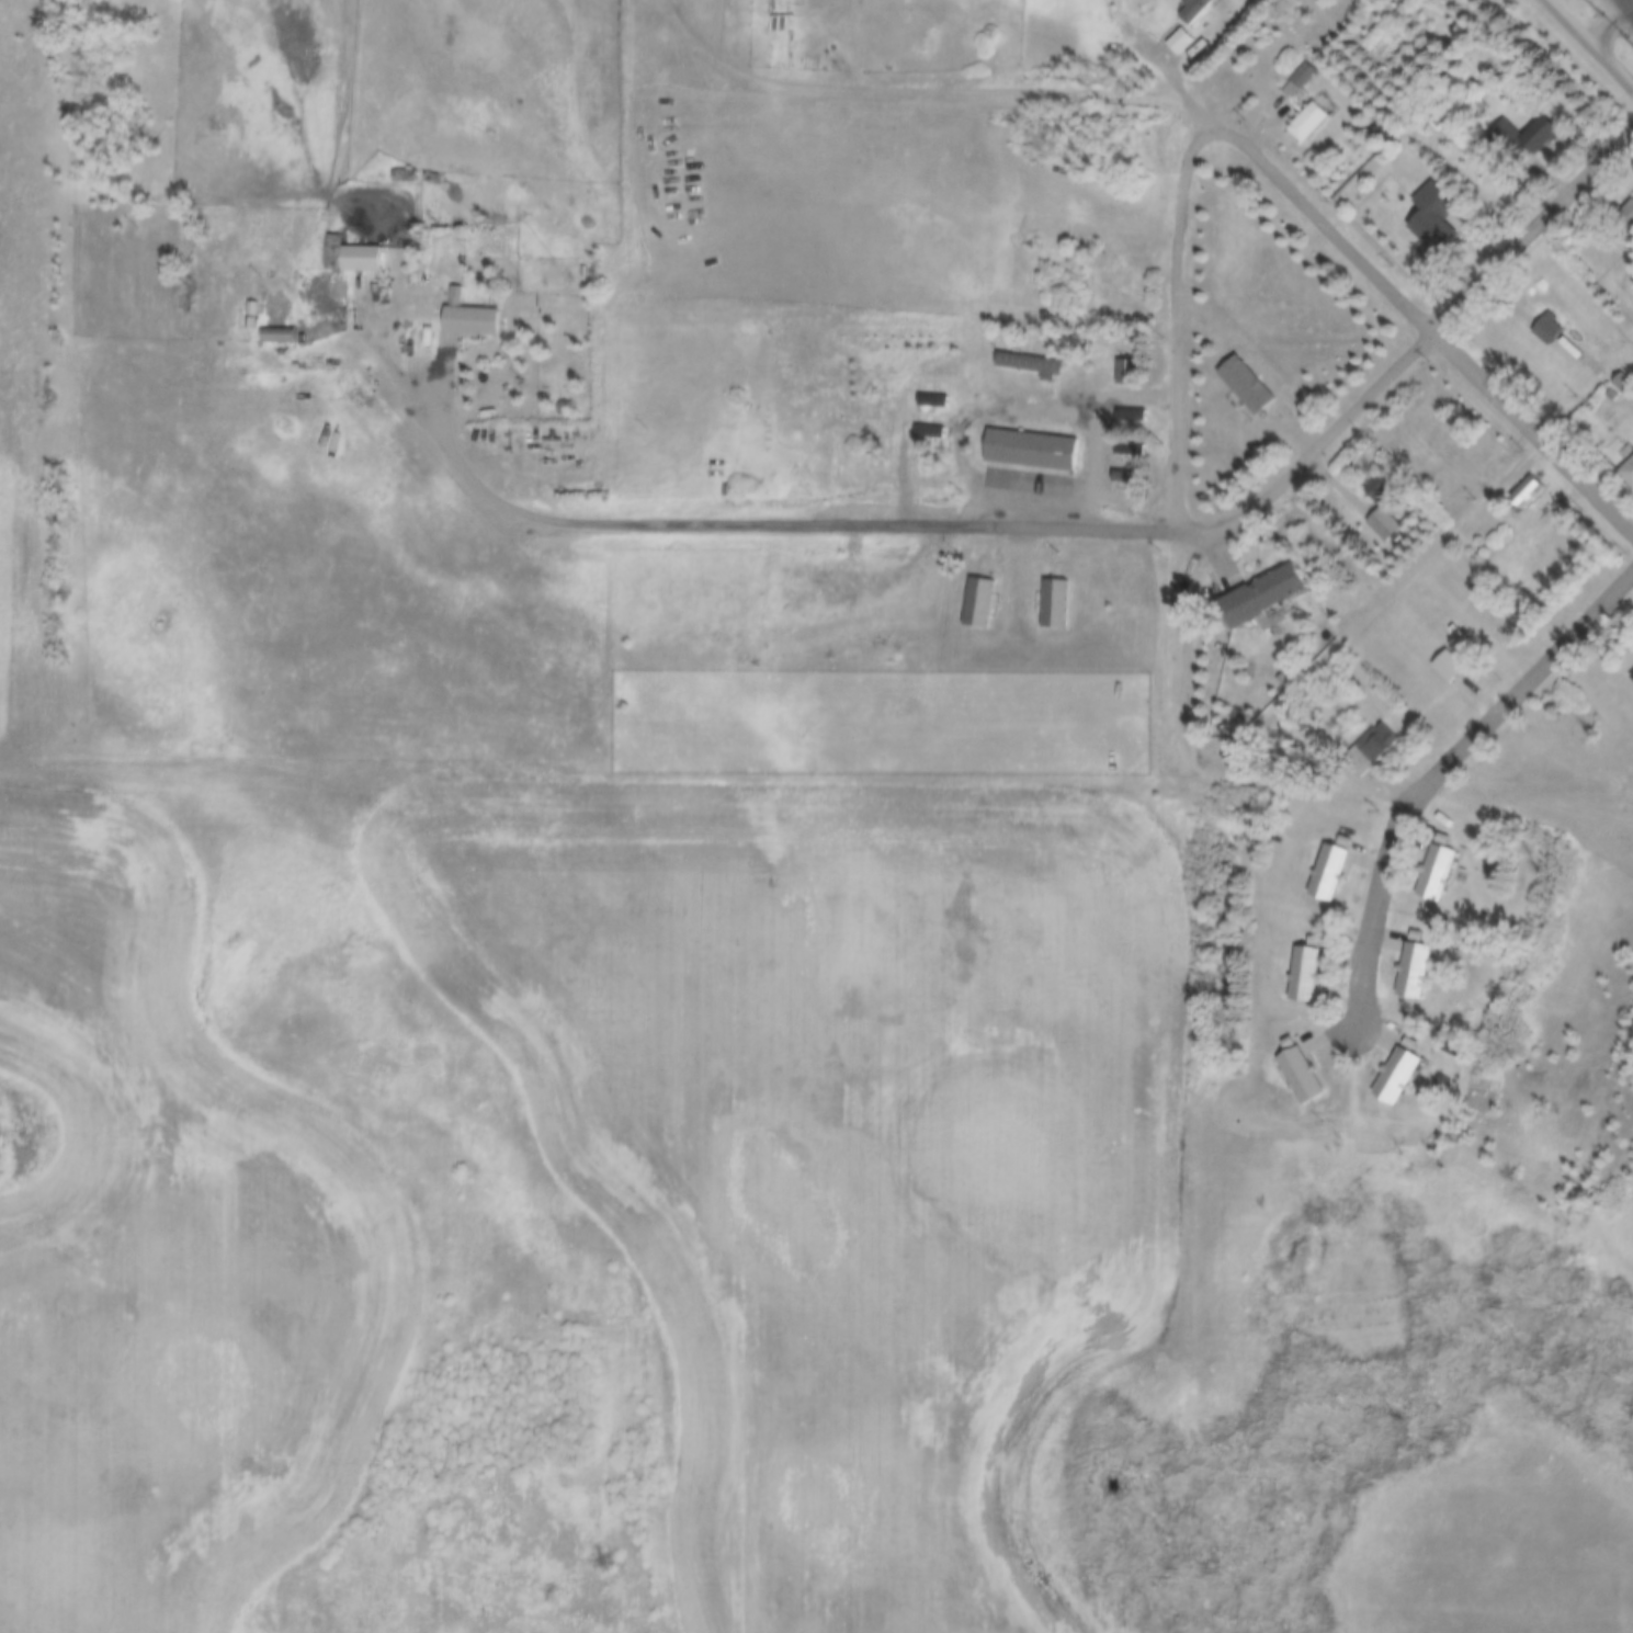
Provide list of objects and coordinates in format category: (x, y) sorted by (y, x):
building: (1198, 10)
building: (783, 24)
road: (1595, 37)
building: (1486, 72)
building: (1302, 81)
road: (919, 95)
building: (1437, 118)
building: (1311, 123)
building: (1507, 133)
building: (1543, 134)
building: (405, 177)
building: (431, 179)
building: (1437, 219)
building: (353, 258)
road: (1183, 313)
building: (473, 318)
building: (251, 325)
road: (1437, 326)
building: (1550, 330)
building: (280, 339)
road: (1418, 345)
building: (1034, 365)
building: (1126, 373)
building: (1249, 386)
building: (1624, 386)
building: (935, 401)
building: (1132, 420)
building: (931, 433)
building: (1034, 451)
building: (1130, 451)
building: (1629, 473)
building: (1125, 477)
building: (1381, 491)
building: (1529, 491)
road: (782, 520)
building: (1386, 528)
building: (1267, 594)
building: (983, 603)
building: (1057, 604)
building: (1450, 667)
building: (1632, 677)
building: (1379, 745)
road: (1444, 778)
building: (1440, 870)
building: (1331, 873)
building: (1417, 971)
building: (1307, 974)
building: (1488, 1012)
building: (1305, 1075)
building: (1399, 1077)

